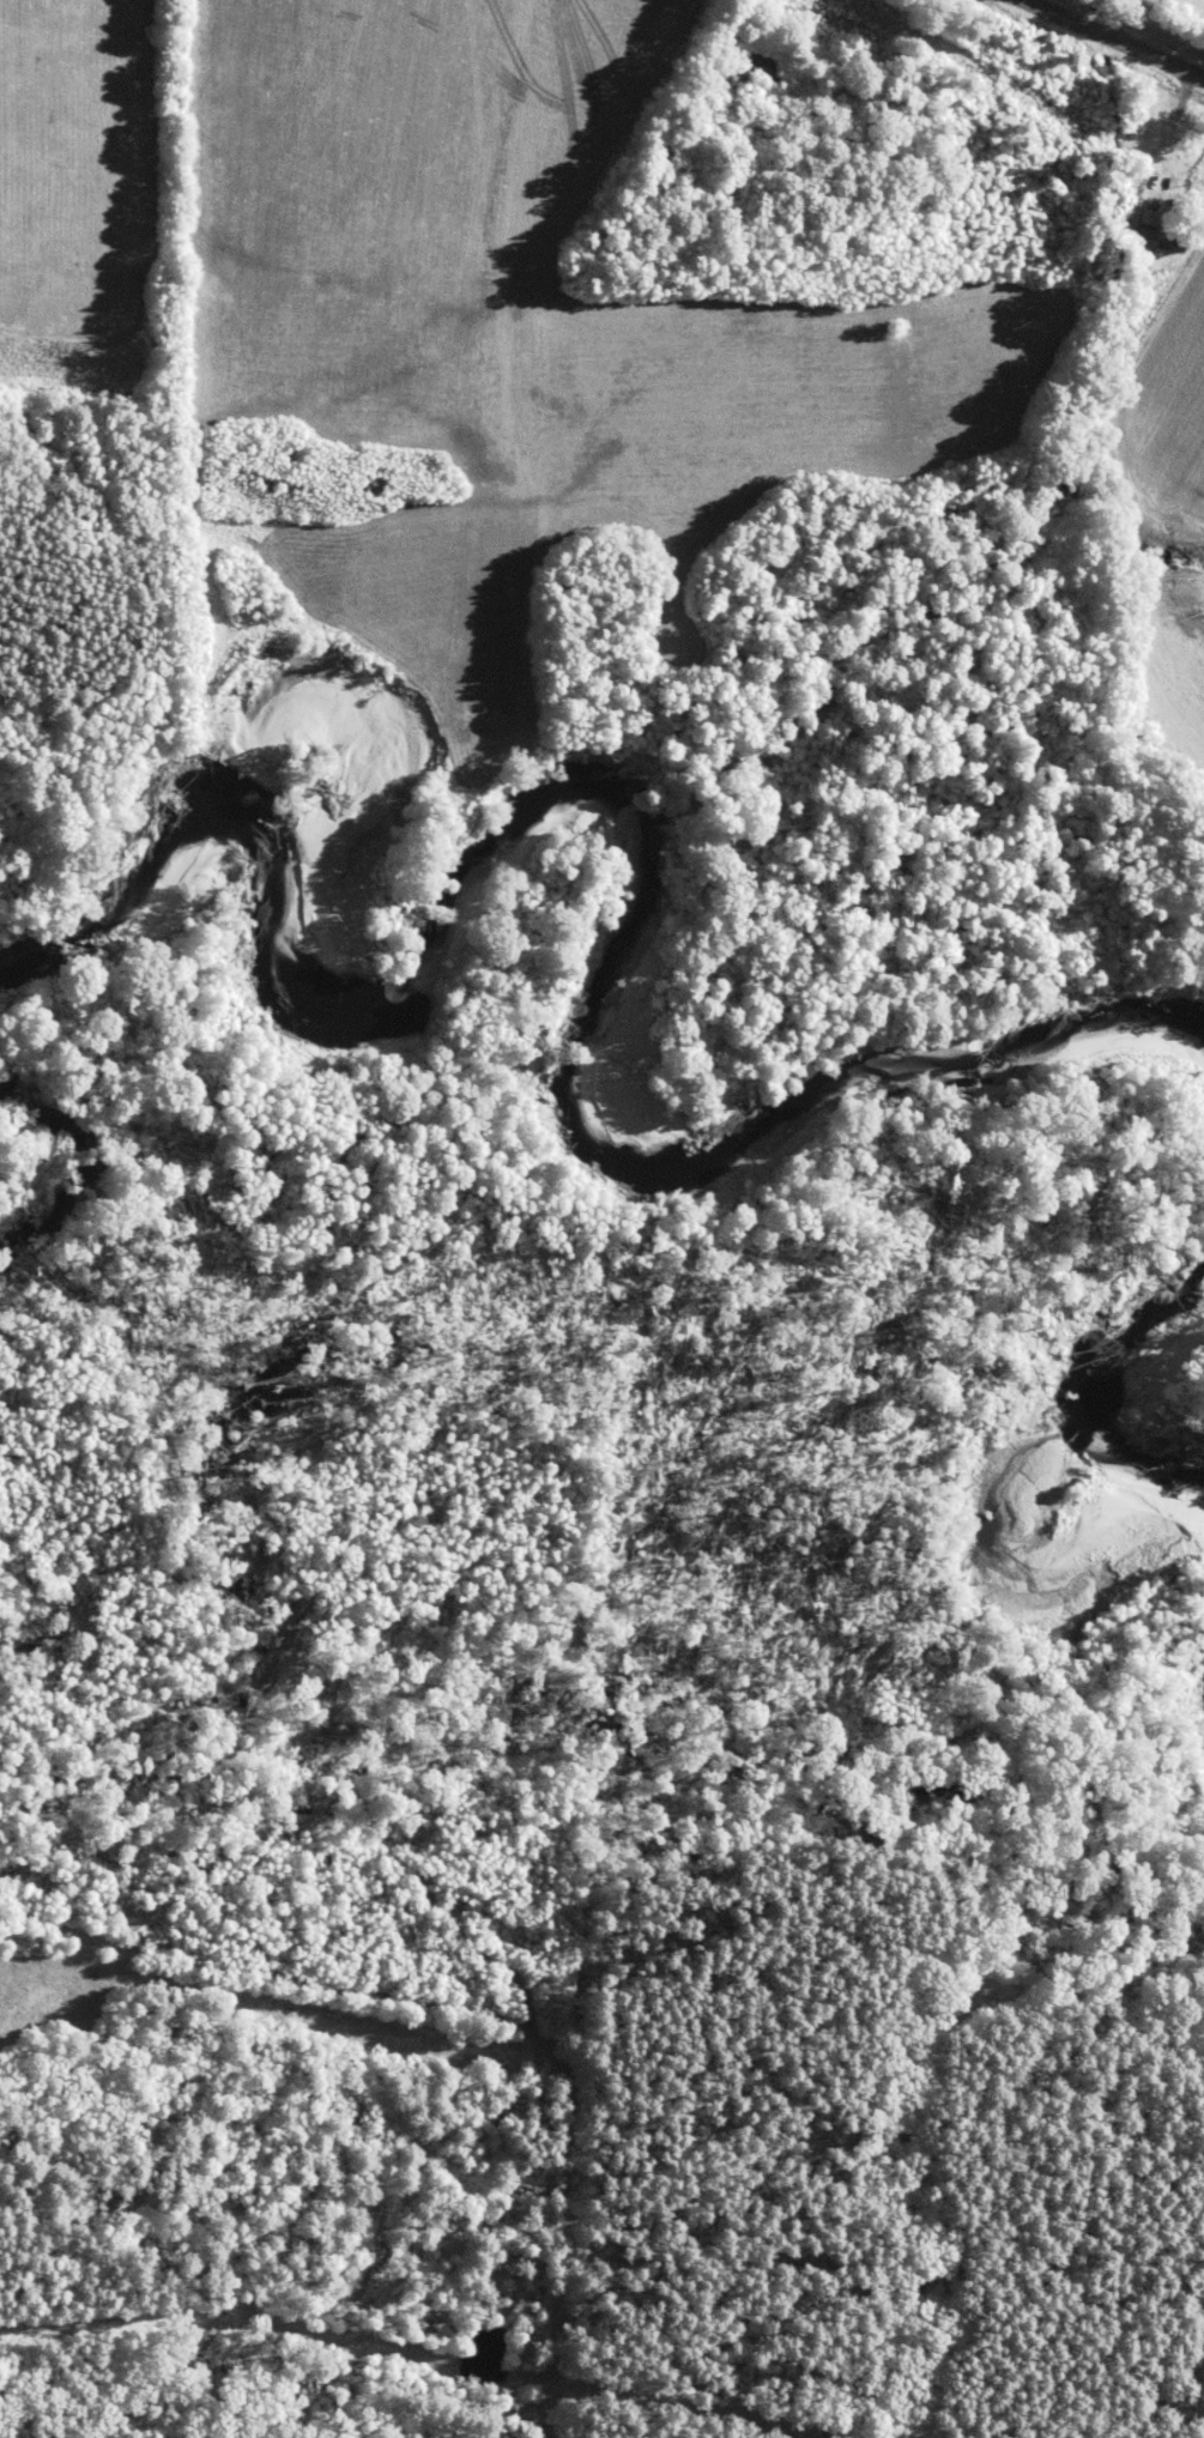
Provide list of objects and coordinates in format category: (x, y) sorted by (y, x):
road: (1114, 38)
building: (755, 66)
building: (1137, 180)
building: (1145, 216)
building: (1158, 237)

